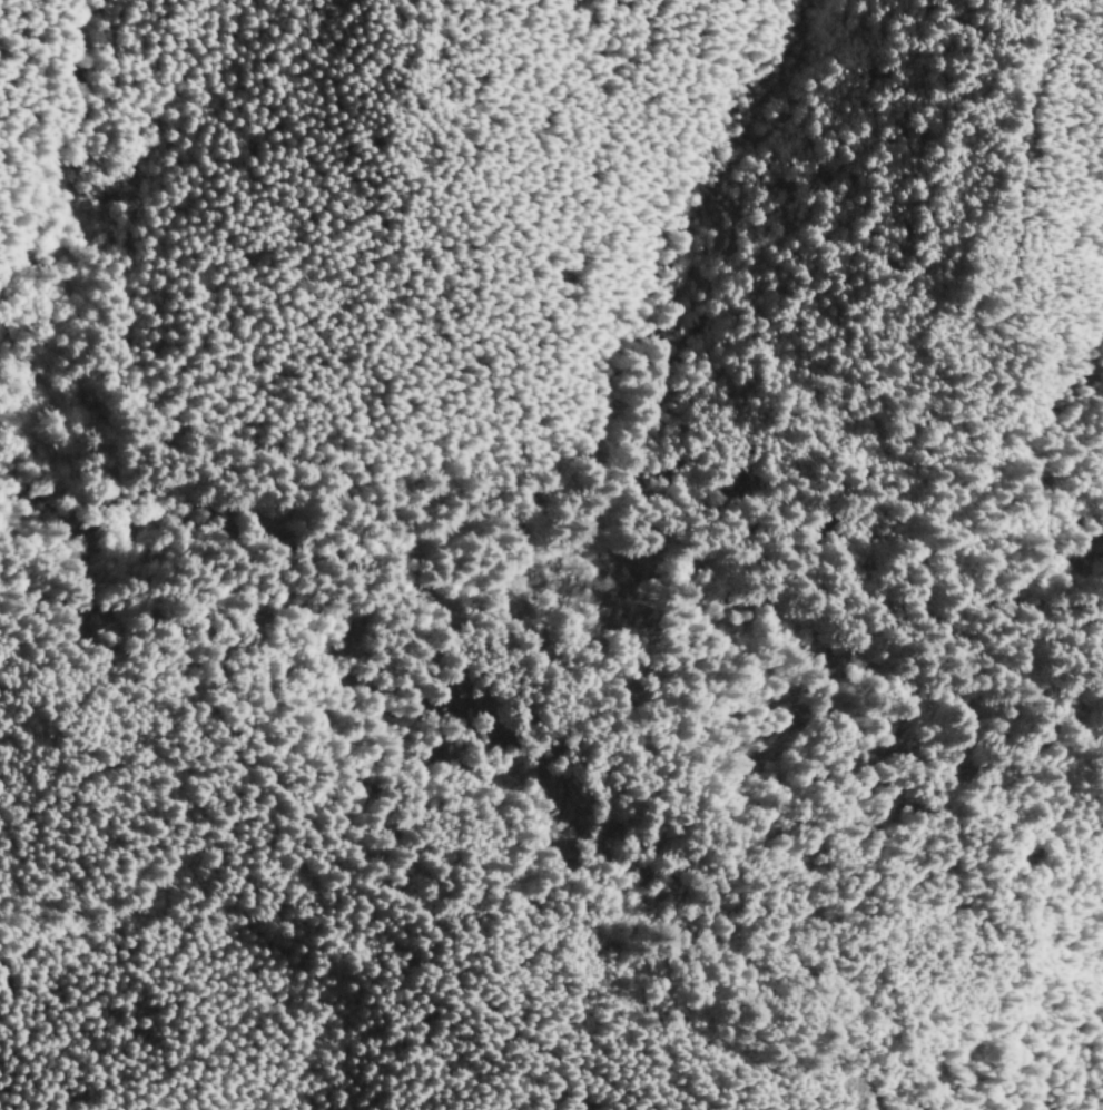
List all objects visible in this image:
road: (543, 375)
road: (307, 567)
road: (1079, 740)

